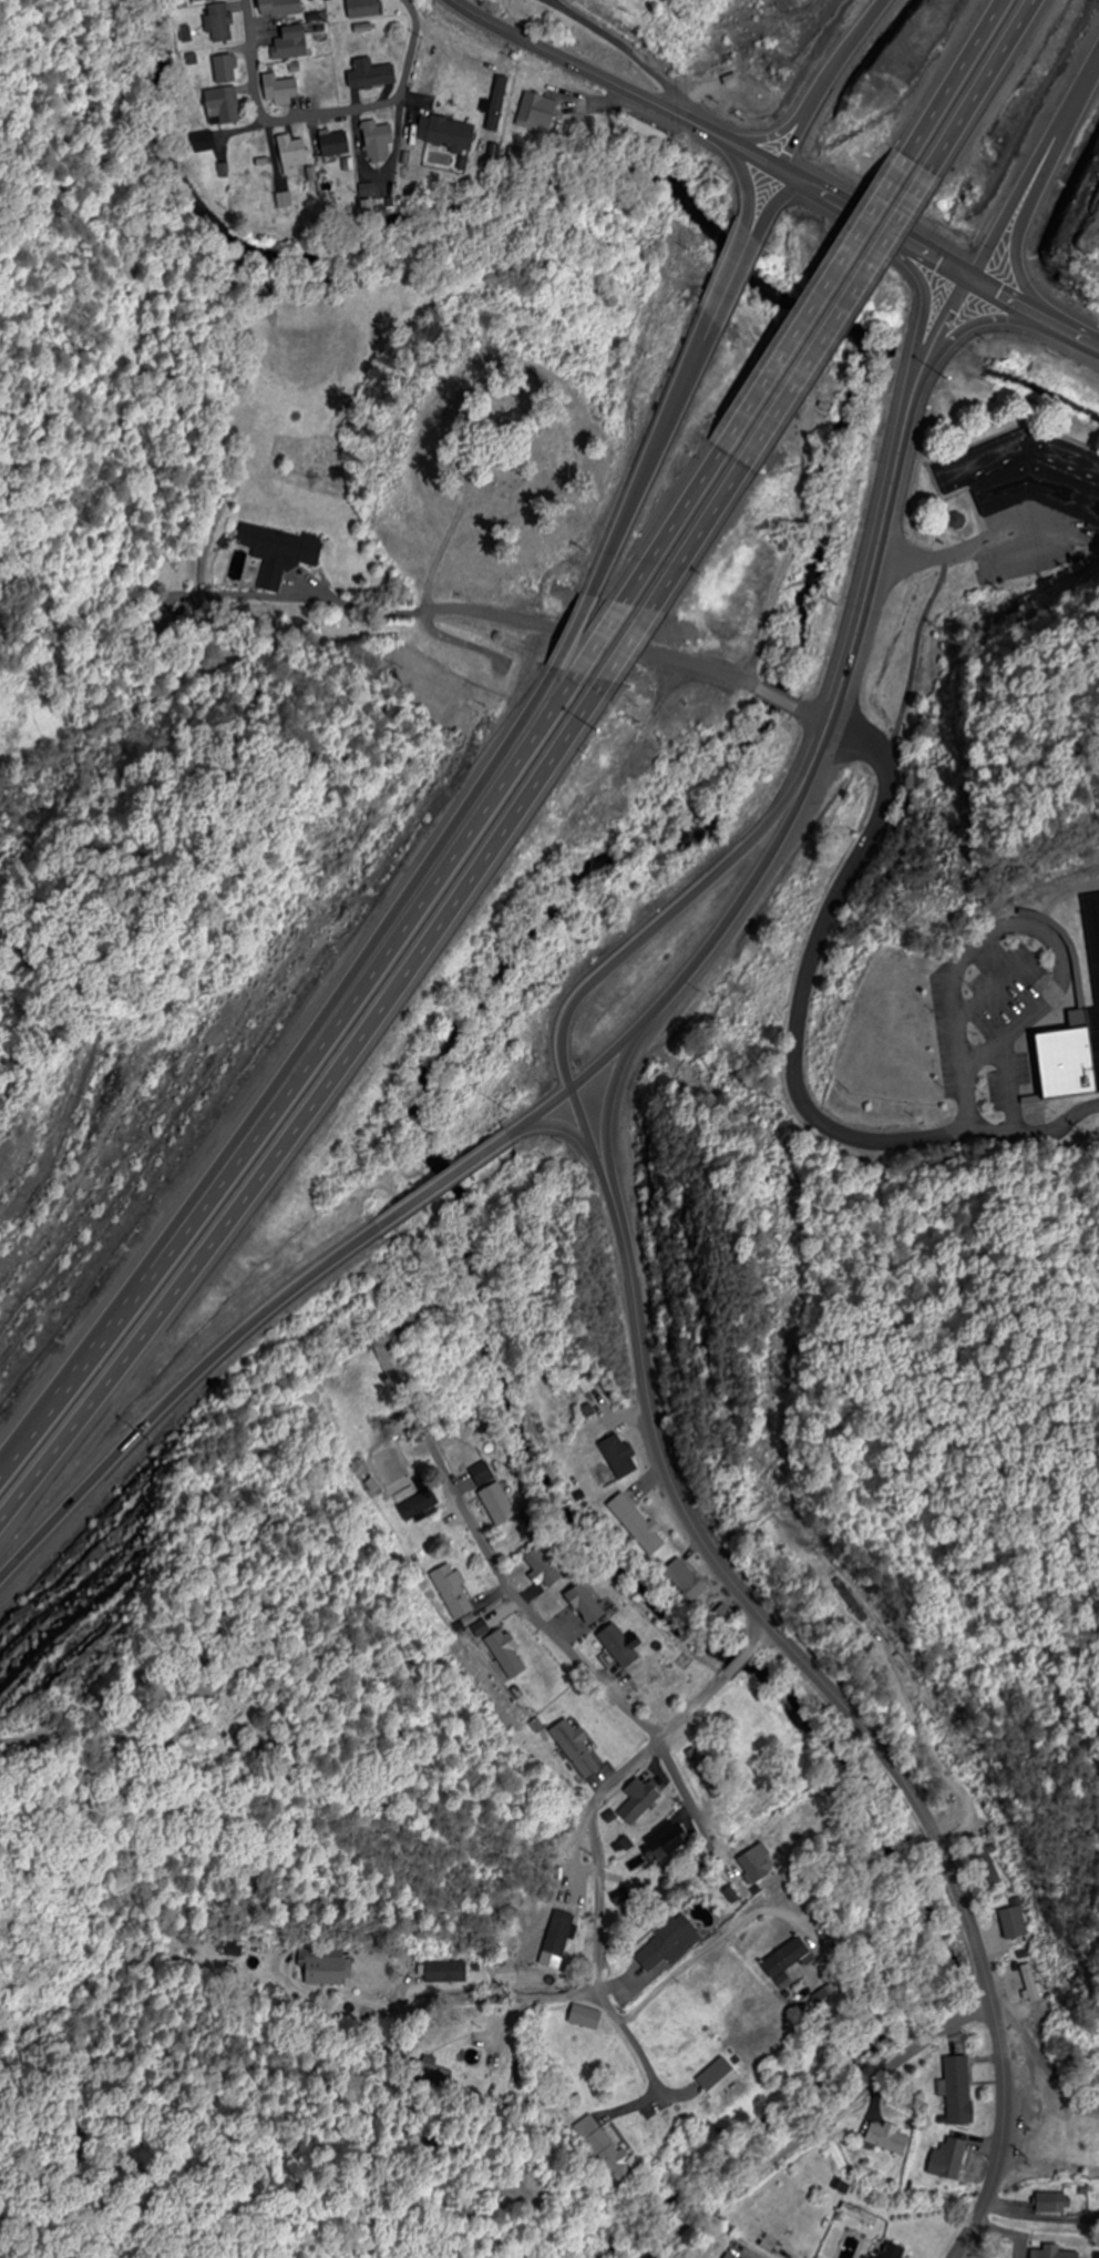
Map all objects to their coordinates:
building: (286, 8)
building: (366, 8)
building: (220, 22)
building: (294, 44)
building: (226, 70)
building: (373, 75)
building: (333, 82)
road: (825, 82)
road: (619, 85)
road: (970, 88)
building: (283, 91)
building: (224, 106)
building: (540, 114)
road: (323, 115)
building: (452, 135)
building: (650, 135)
building: (337, 143)
building: (381, 144)
building: (296, 155)
road: (1047, 177)
building: (285, 201)
road: (768, 204)
road: (864, 218)
road: (733, 280)
road: (1021, 306)
road: (833, 313)
building: (835, 314)
road: (962, 343)
road: (655, 464)
building: (1027, 476)
road: (691, 531)
building: (284, 548)
road: (573, 638)
road: (576, 638)
road: (612, 648)
road: (833, 718)
road: (509, 769)
road: (523, 775)
building: (1072, 973)
road: (797, 1003)
road: (1061, 1004)
road: (236, 1186)
road: (276, 1301)
building: (615, 1454)
building: (477, 1474)
building: (422, 1503)
building: (492, 1504)
building: (631, 1522)
building: (536, 1567)
building: (680, 1581)
building: (456, 1596)
building: (577, 1600)
road: (531, 1612)
building: (721, 1618)
building: (612, 1643)
road: (754, 1645)
building: (509, 1656)
road: (814, 1676)
road: (660, 1735)
building: (577, 1748)
building: (634, 1801)
building: (658, 1842)
building: (985, 1863)
building: (750, 1869)
road: (600, 1900)
building: (1010, 1923)
building: (564, 1938)
building: (671, 1945)
building: (781, 1954)
building: (329, 1966)
building: (450, 1974)
building: (1030, 1983)
road: (513, 2001)
building: (588, 2019)
road: (631, 2041)
road: (1039, 2058)
building: (719, 2075)
building: (958, 2090)
road: (818, 2127)
building: (890, 2138)
building: (606, 2150)
building: (951, 2157)
building: (1052, 2203)
road: (1037, 2211)
building: (891, 2251)
building: (1052, 2251)
building: (731, 2256)
building: (1096, 2257)

